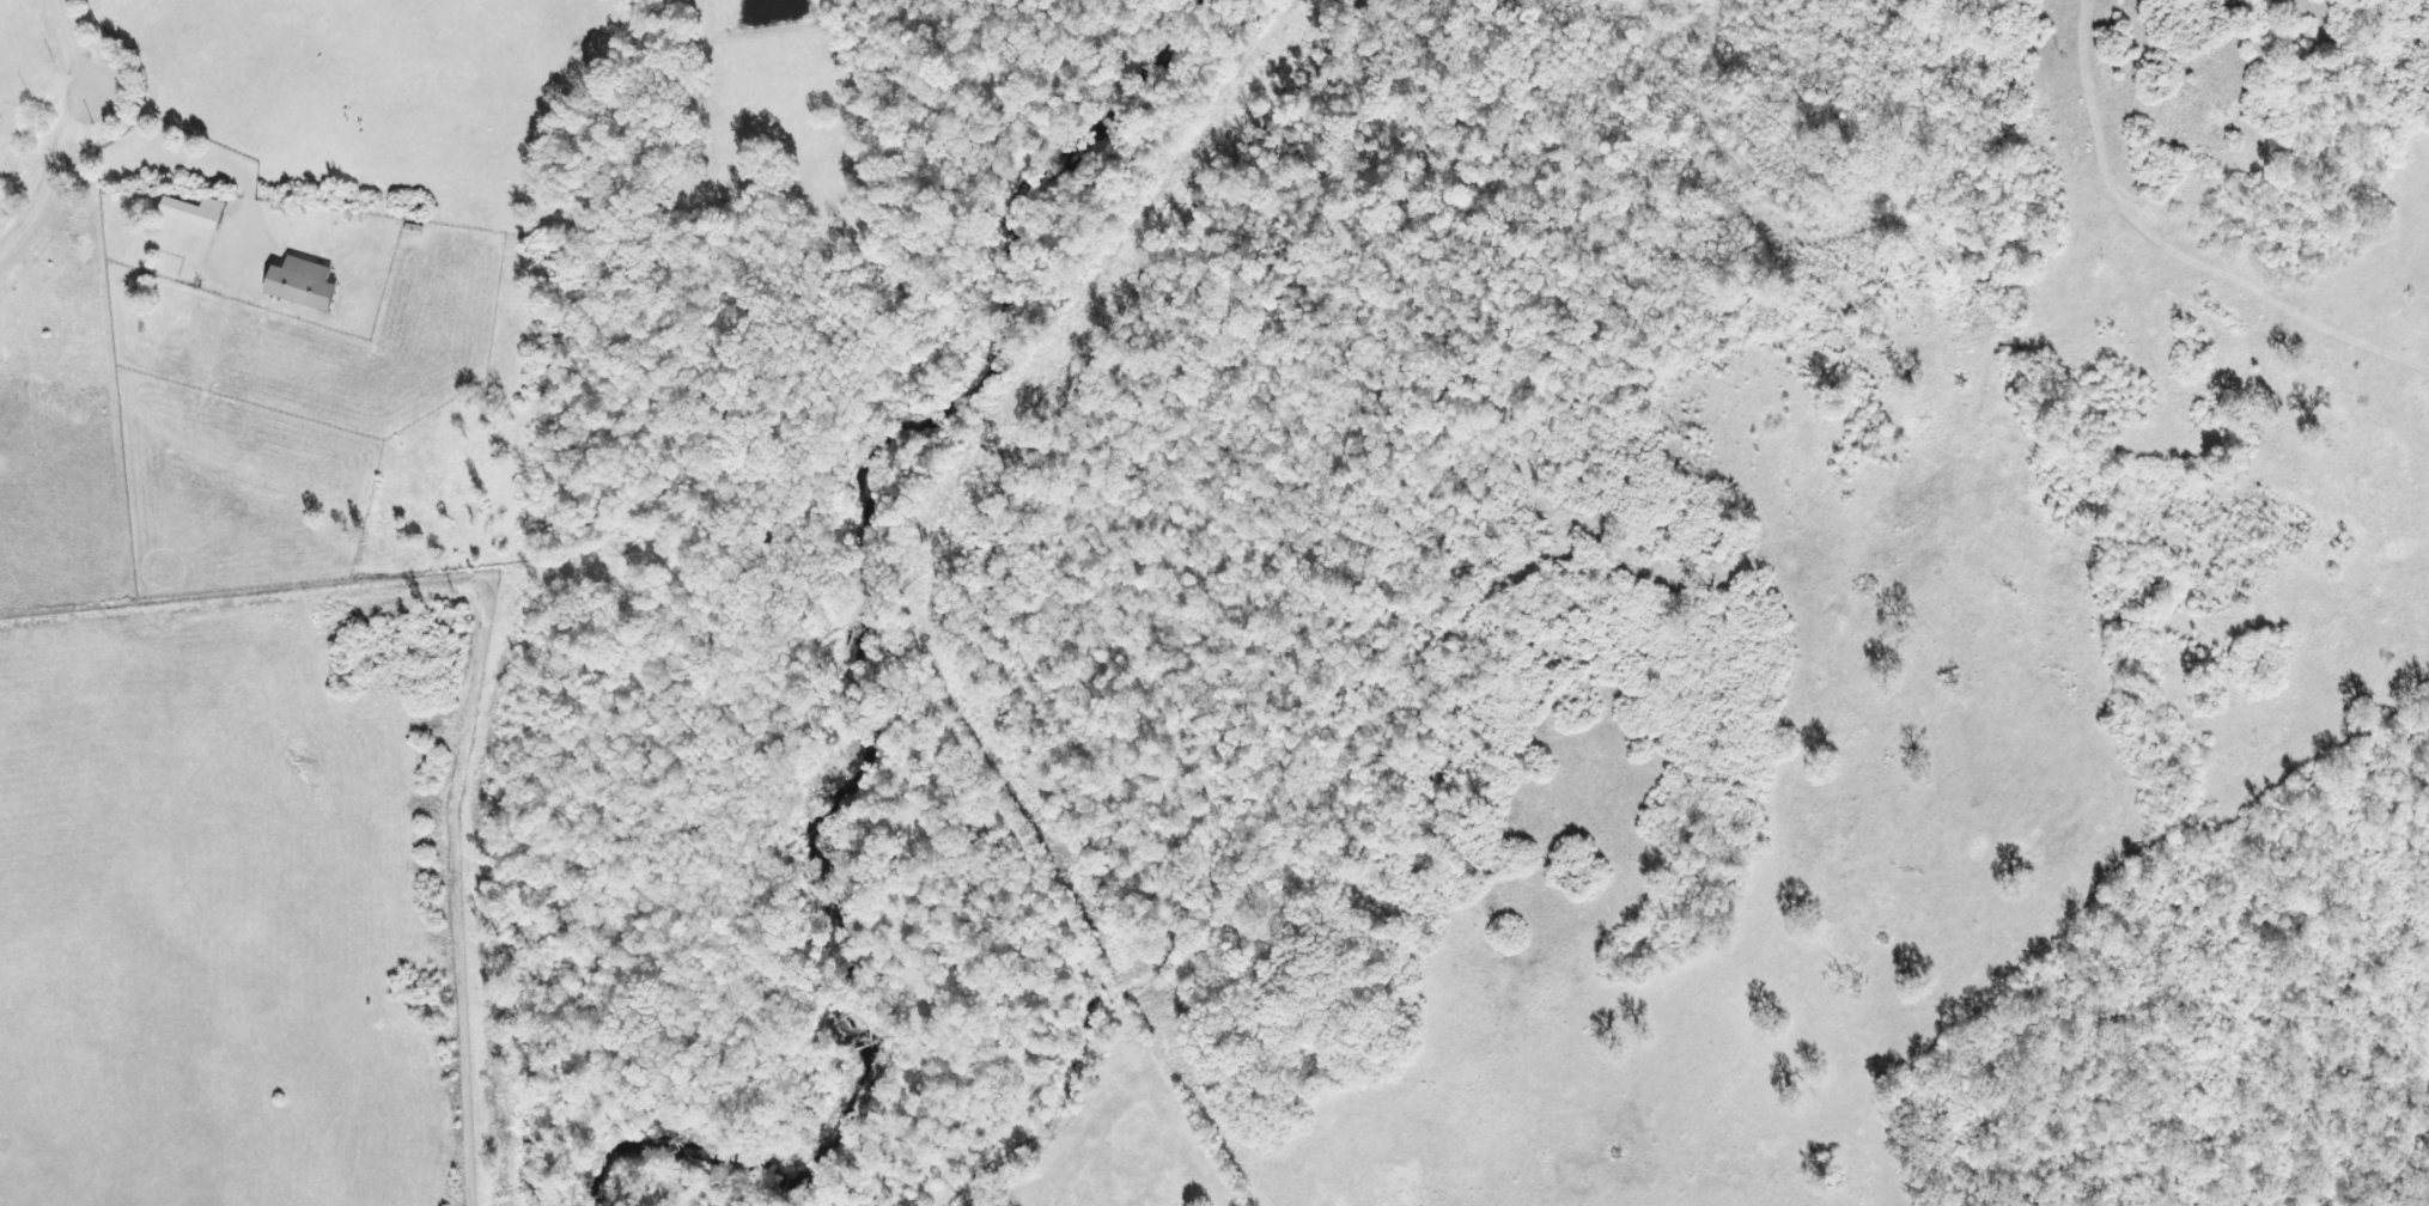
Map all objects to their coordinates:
road: (72, 48)
road: (208, 157)
building: (203, 213)
building: (312, 285)

